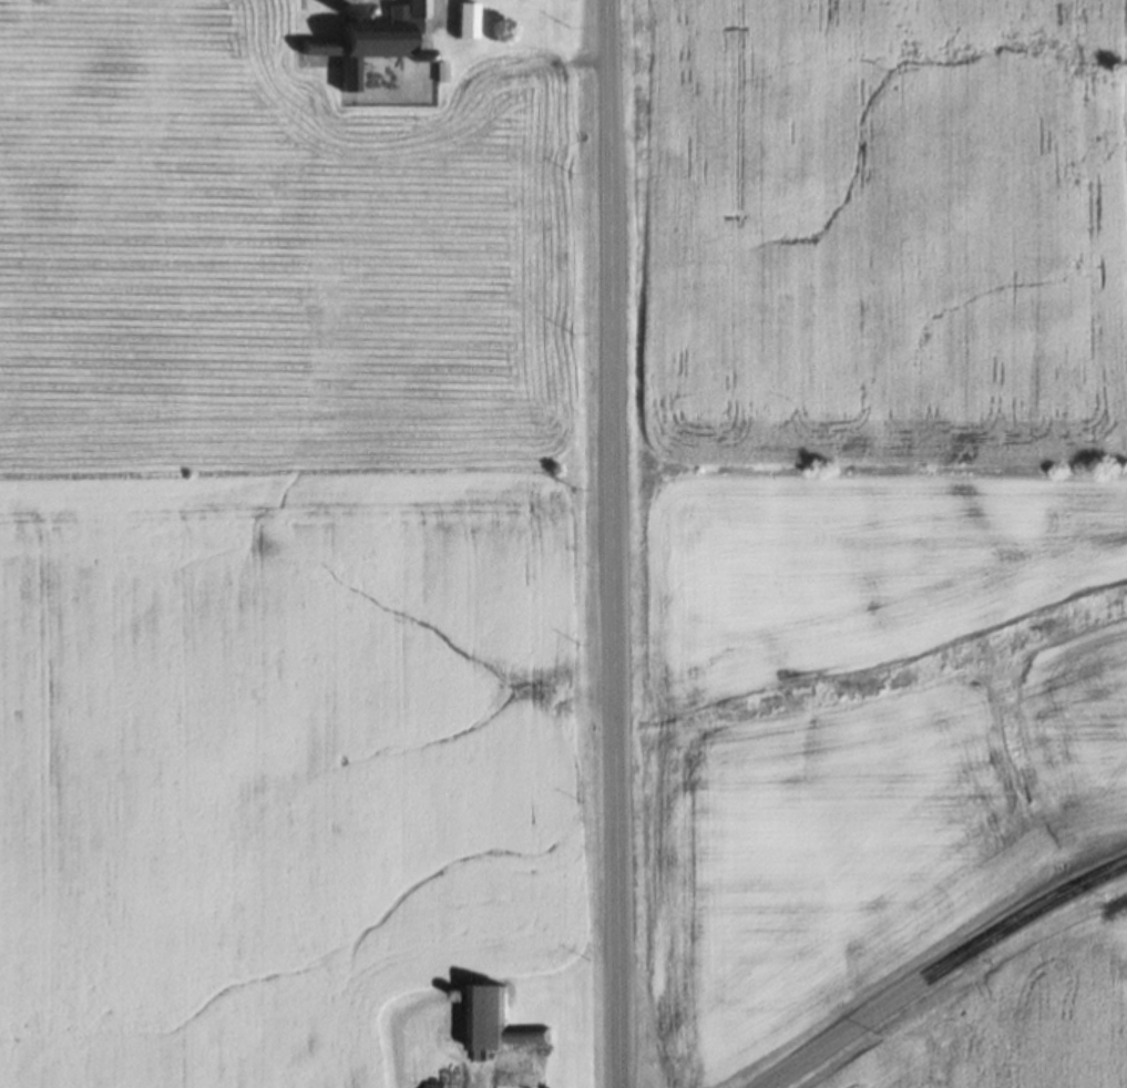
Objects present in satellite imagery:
building: (376, 39)
road: (614, 543)
road: (941, 969)
building: (503, 1023)
building: (455, 1076)

